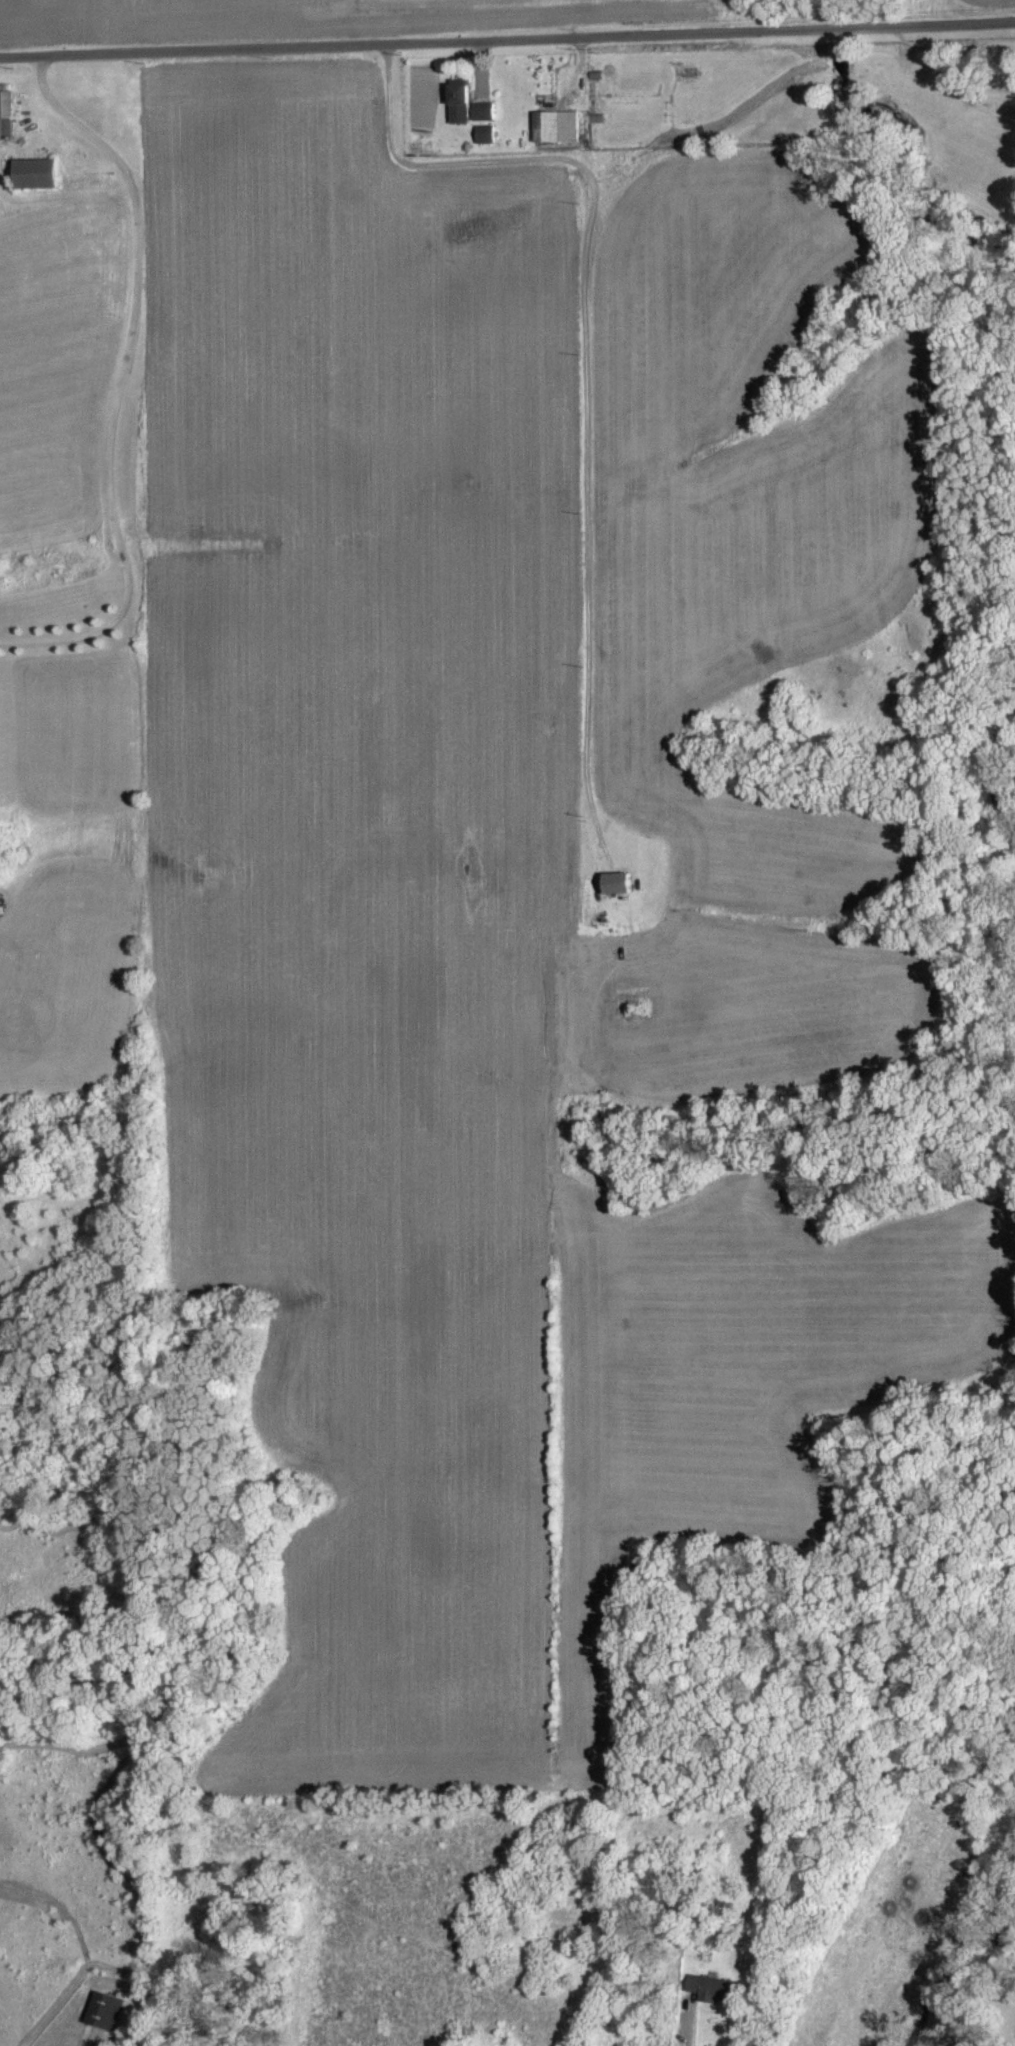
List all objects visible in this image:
road: (507, 39)
building: (456, 102)
building: (482, 111)
building: (4, 114)
building: (553, 126)
building: (484, 134)
building: (32, 174)
road: (590, 347)
road: (121, 380)
building: (613, 884)
building: (709, 1988)
building: (111, 2011)

